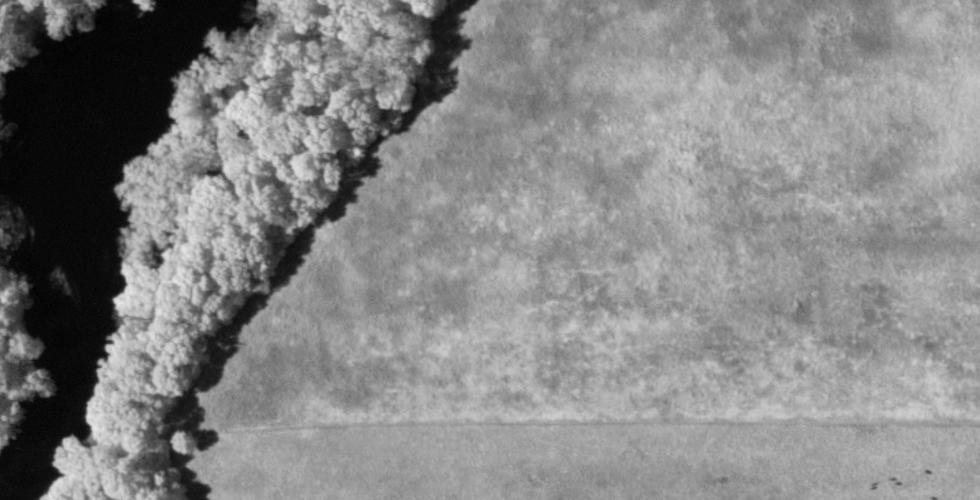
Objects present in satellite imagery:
road: (695, 118)
river: (82, 223)

